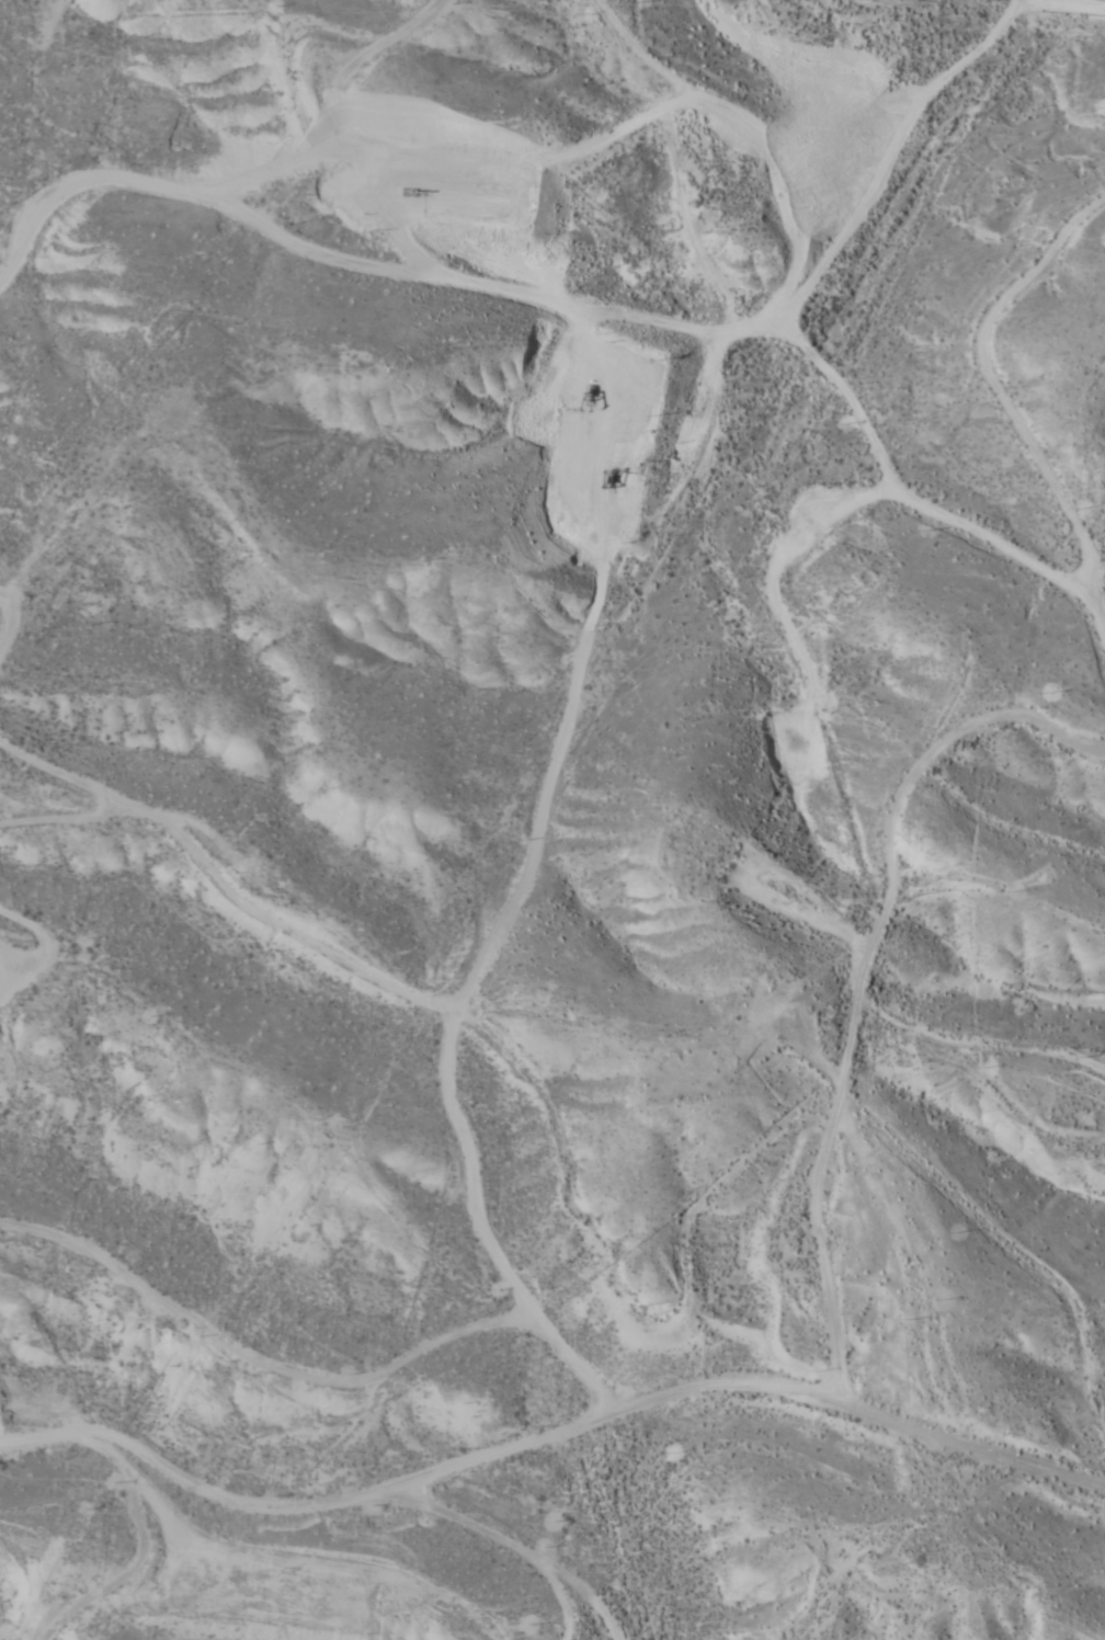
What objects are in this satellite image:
road: (2, 3)
road: (286, 102)
road: (578, 288)
road: (1053, 362)
road: (1103, 465)
road: (603, 707)
road: (39, 747)
road: (995, 902)
road: (852, 1016)
road: (980, 1057)
road: (614, 1227)
road: (14, 1382)
road: (548, 1437)
road: (490, 1557)

